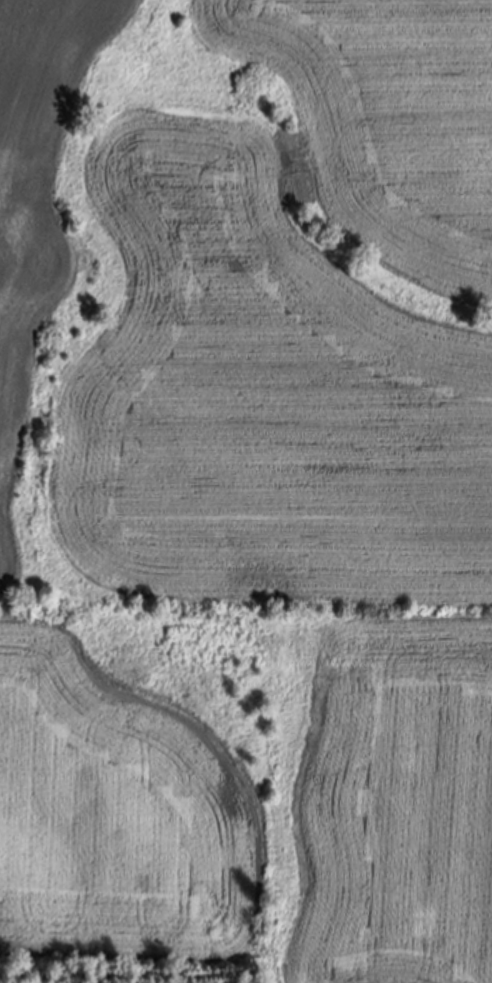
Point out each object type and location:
crop: (247, 484)

